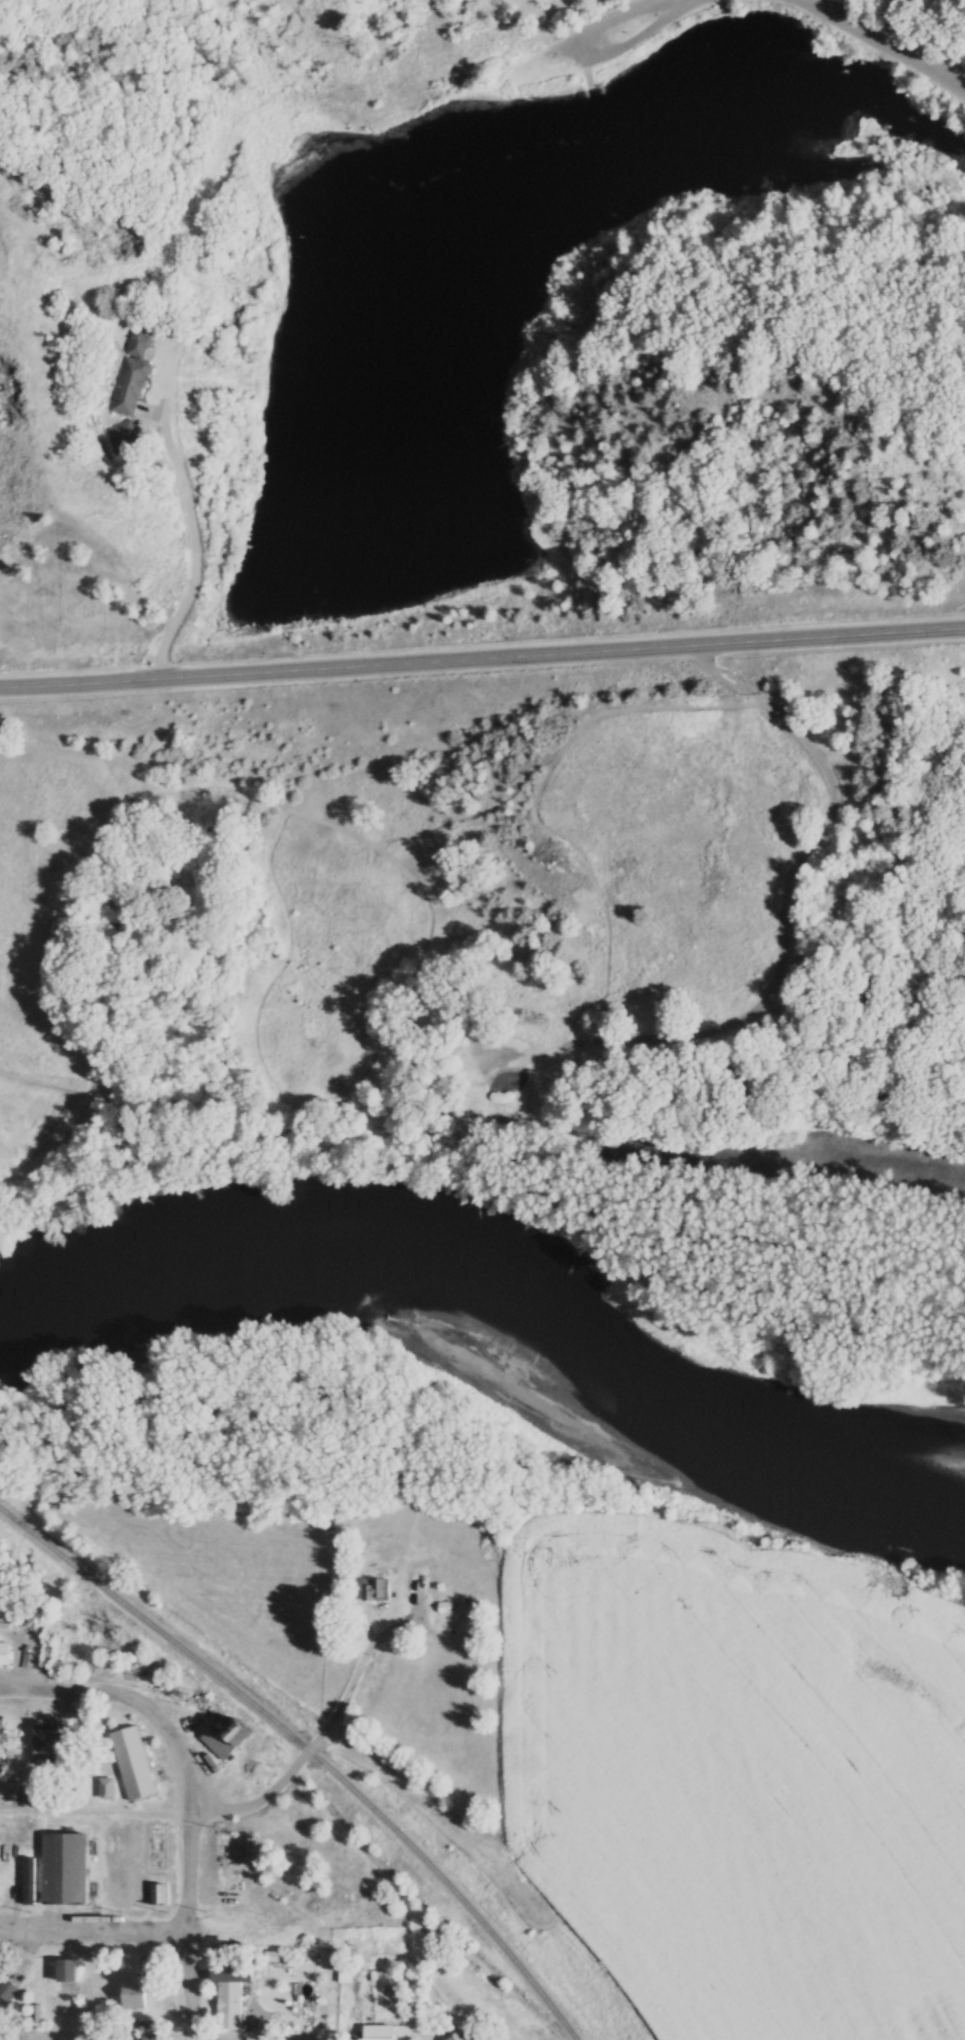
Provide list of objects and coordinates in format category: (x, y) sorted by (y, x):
road: (888, 38)
road: (605, 47)
building: (131, 375)
building: (123, 438)
road: (192, 554)
road: (482, 664)
river: (260, 1242)
river: (714, 1461)
building: (376, 1589)
building: (5, 1654)
road: (66, 1688)
road: (322, 1731)
building: (3, 1734)
building: (228, 1738)
building: (54, 1744)
railway: (310, 1750)
building: (134, 1763)
building: (107, 1788)
road: (188, 1858)
building: (66, 1865)
building: (159, 1895)
railway: (439, 1919)
road: (93, 1930)
building: (8, 1990)
building: (232, 1991)
building: (136, 1992)
building: (380, 2032)
building: (455, 2034)

